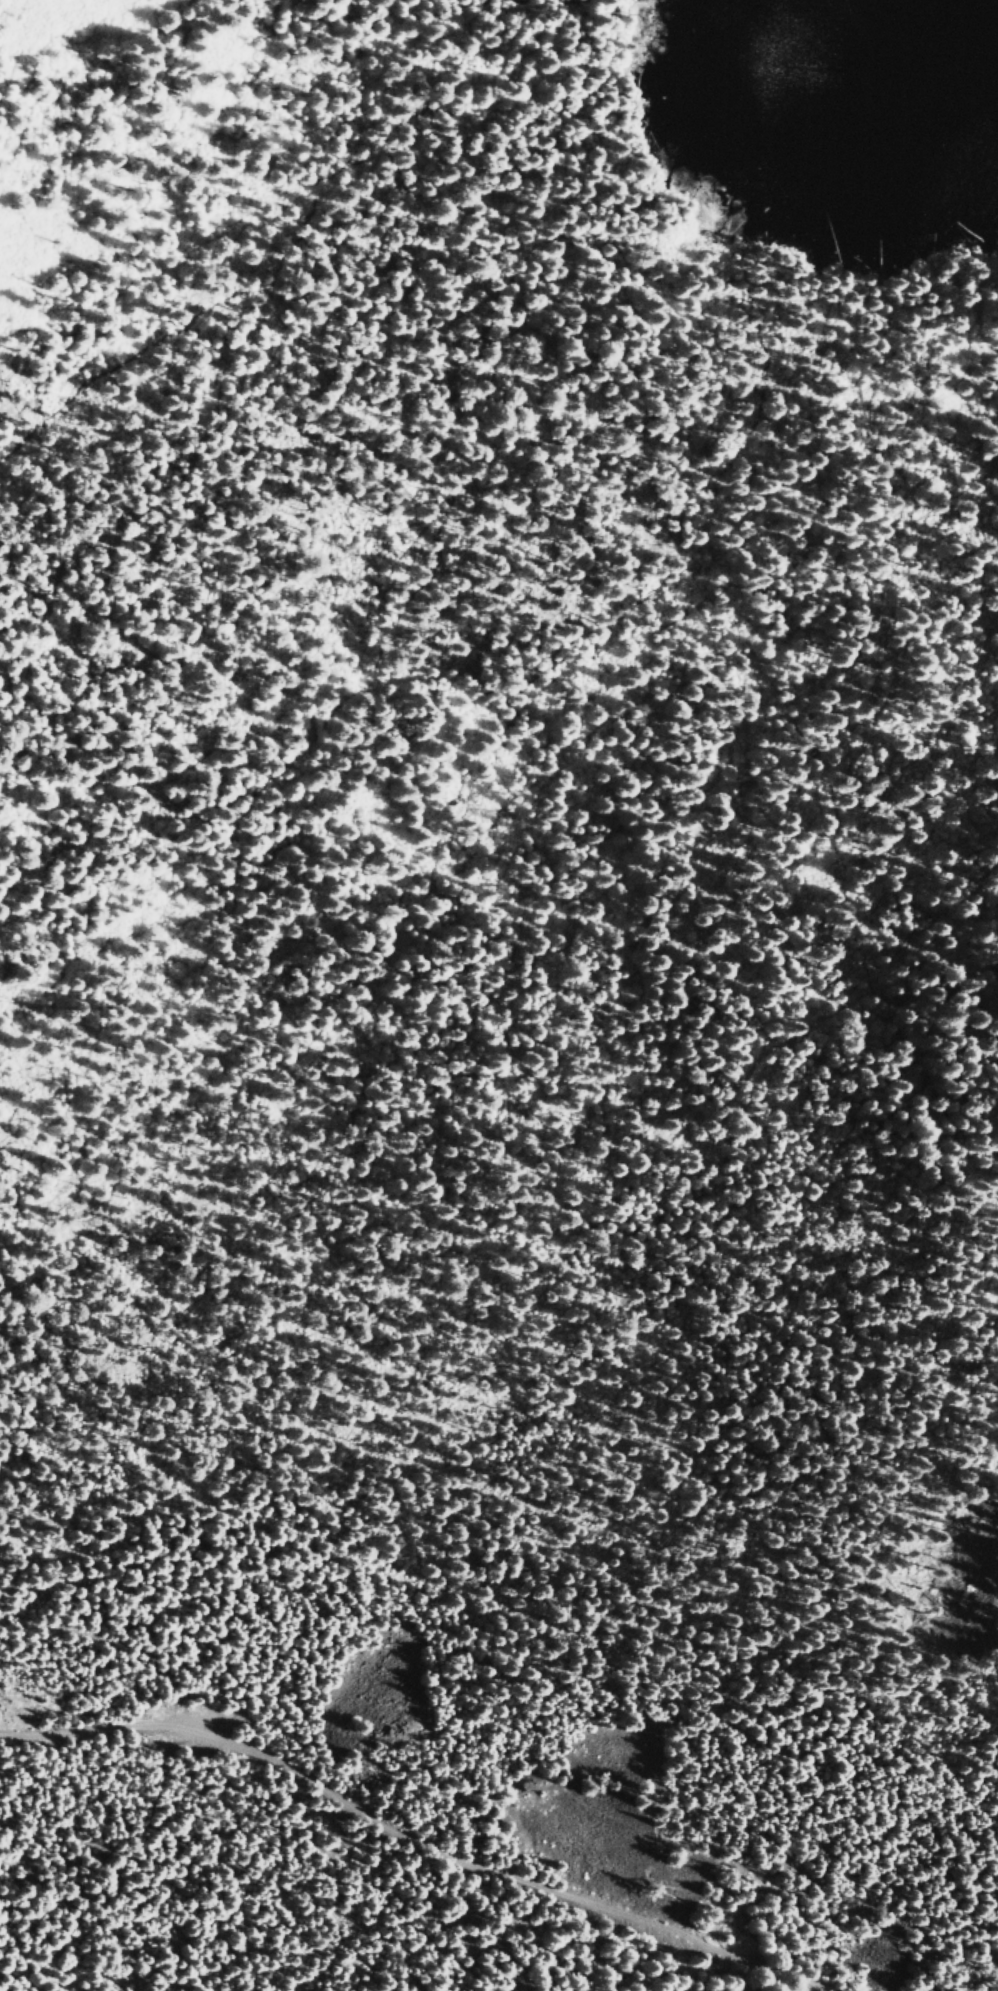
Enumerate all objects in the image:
road: (155, 1651)
road: (89, 1693)
parking lot: (202, 1710)
road: (424, 1825)
road: (106, 1855)

